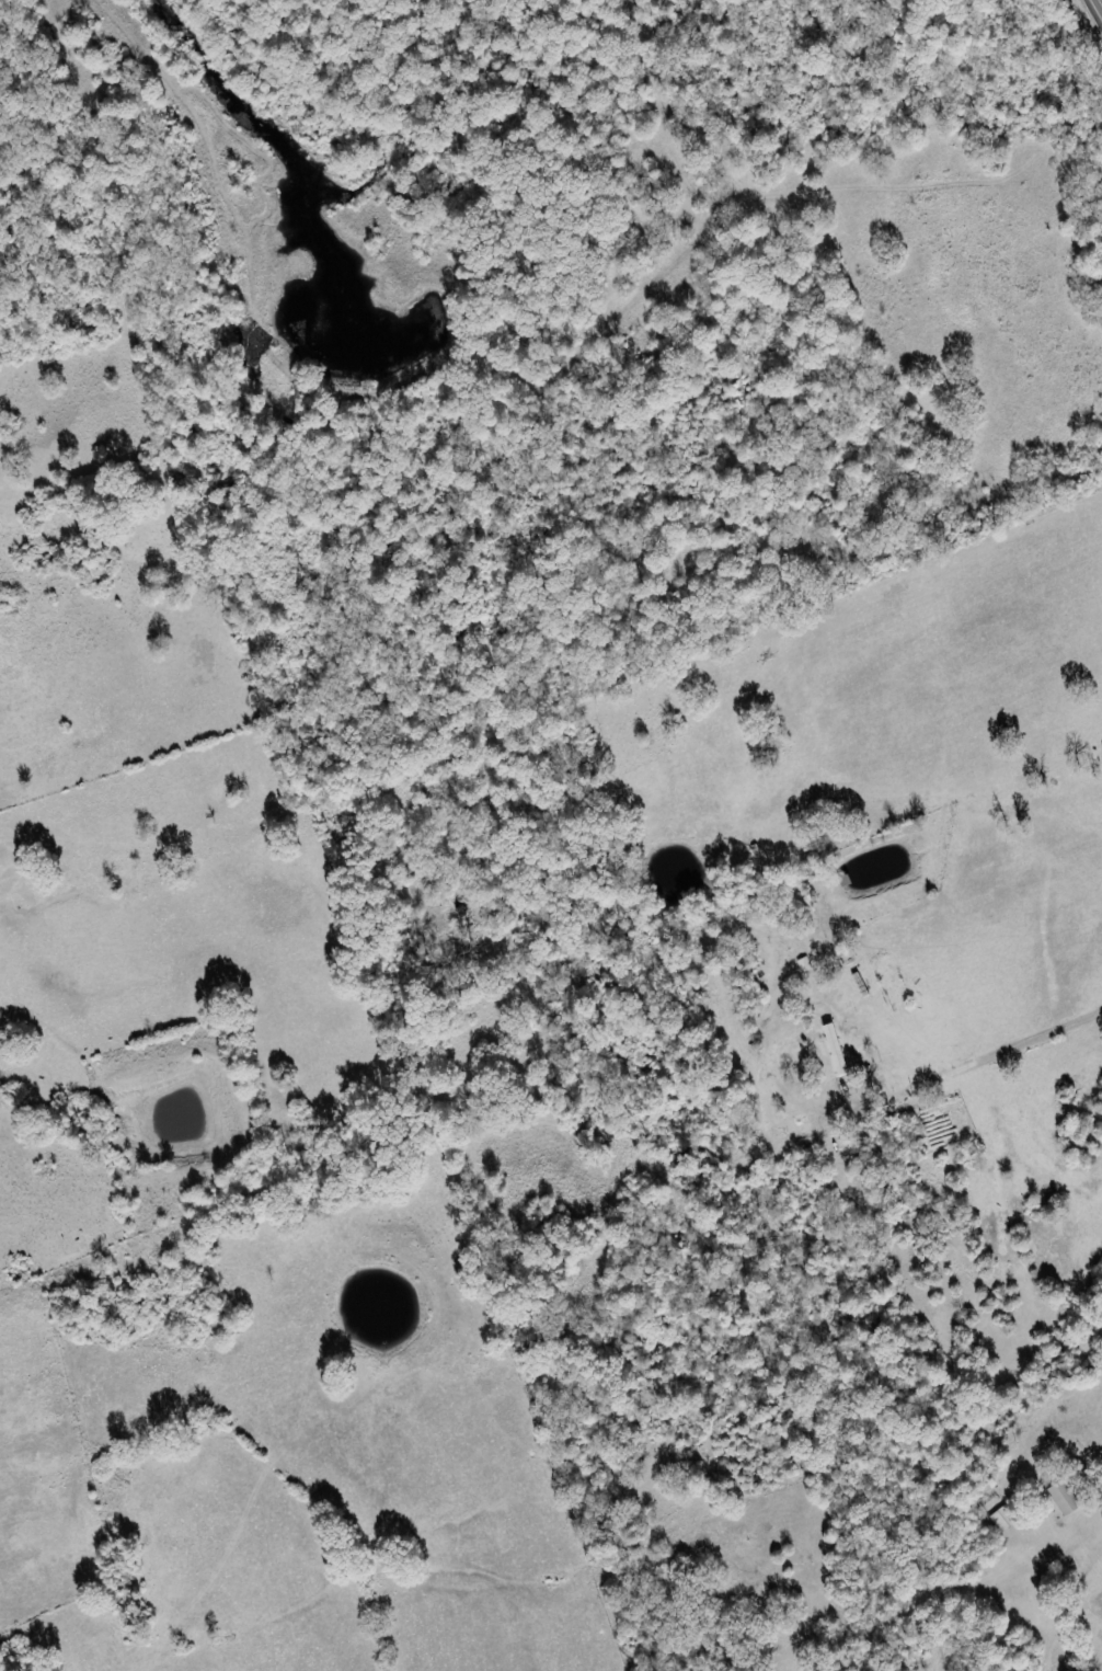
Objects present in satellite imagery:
road: (1097, 8)
road: (957, 1016)
building: (1067, 1497)

